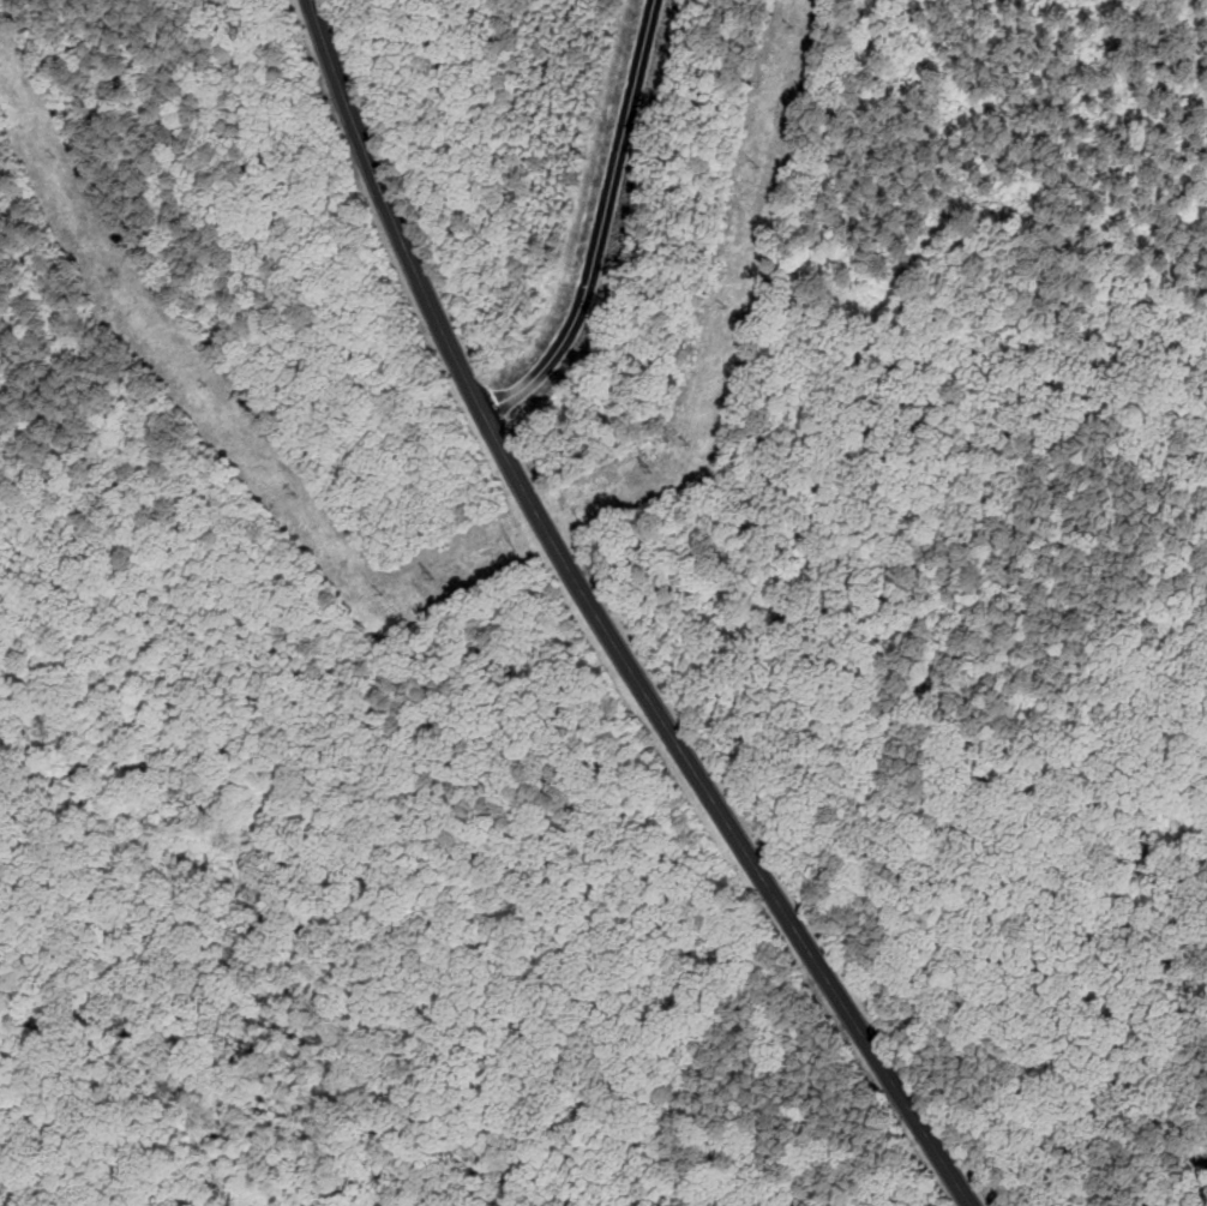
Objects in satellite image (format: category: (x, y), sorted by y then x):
road: (601, 223)
road: (602, 623)

